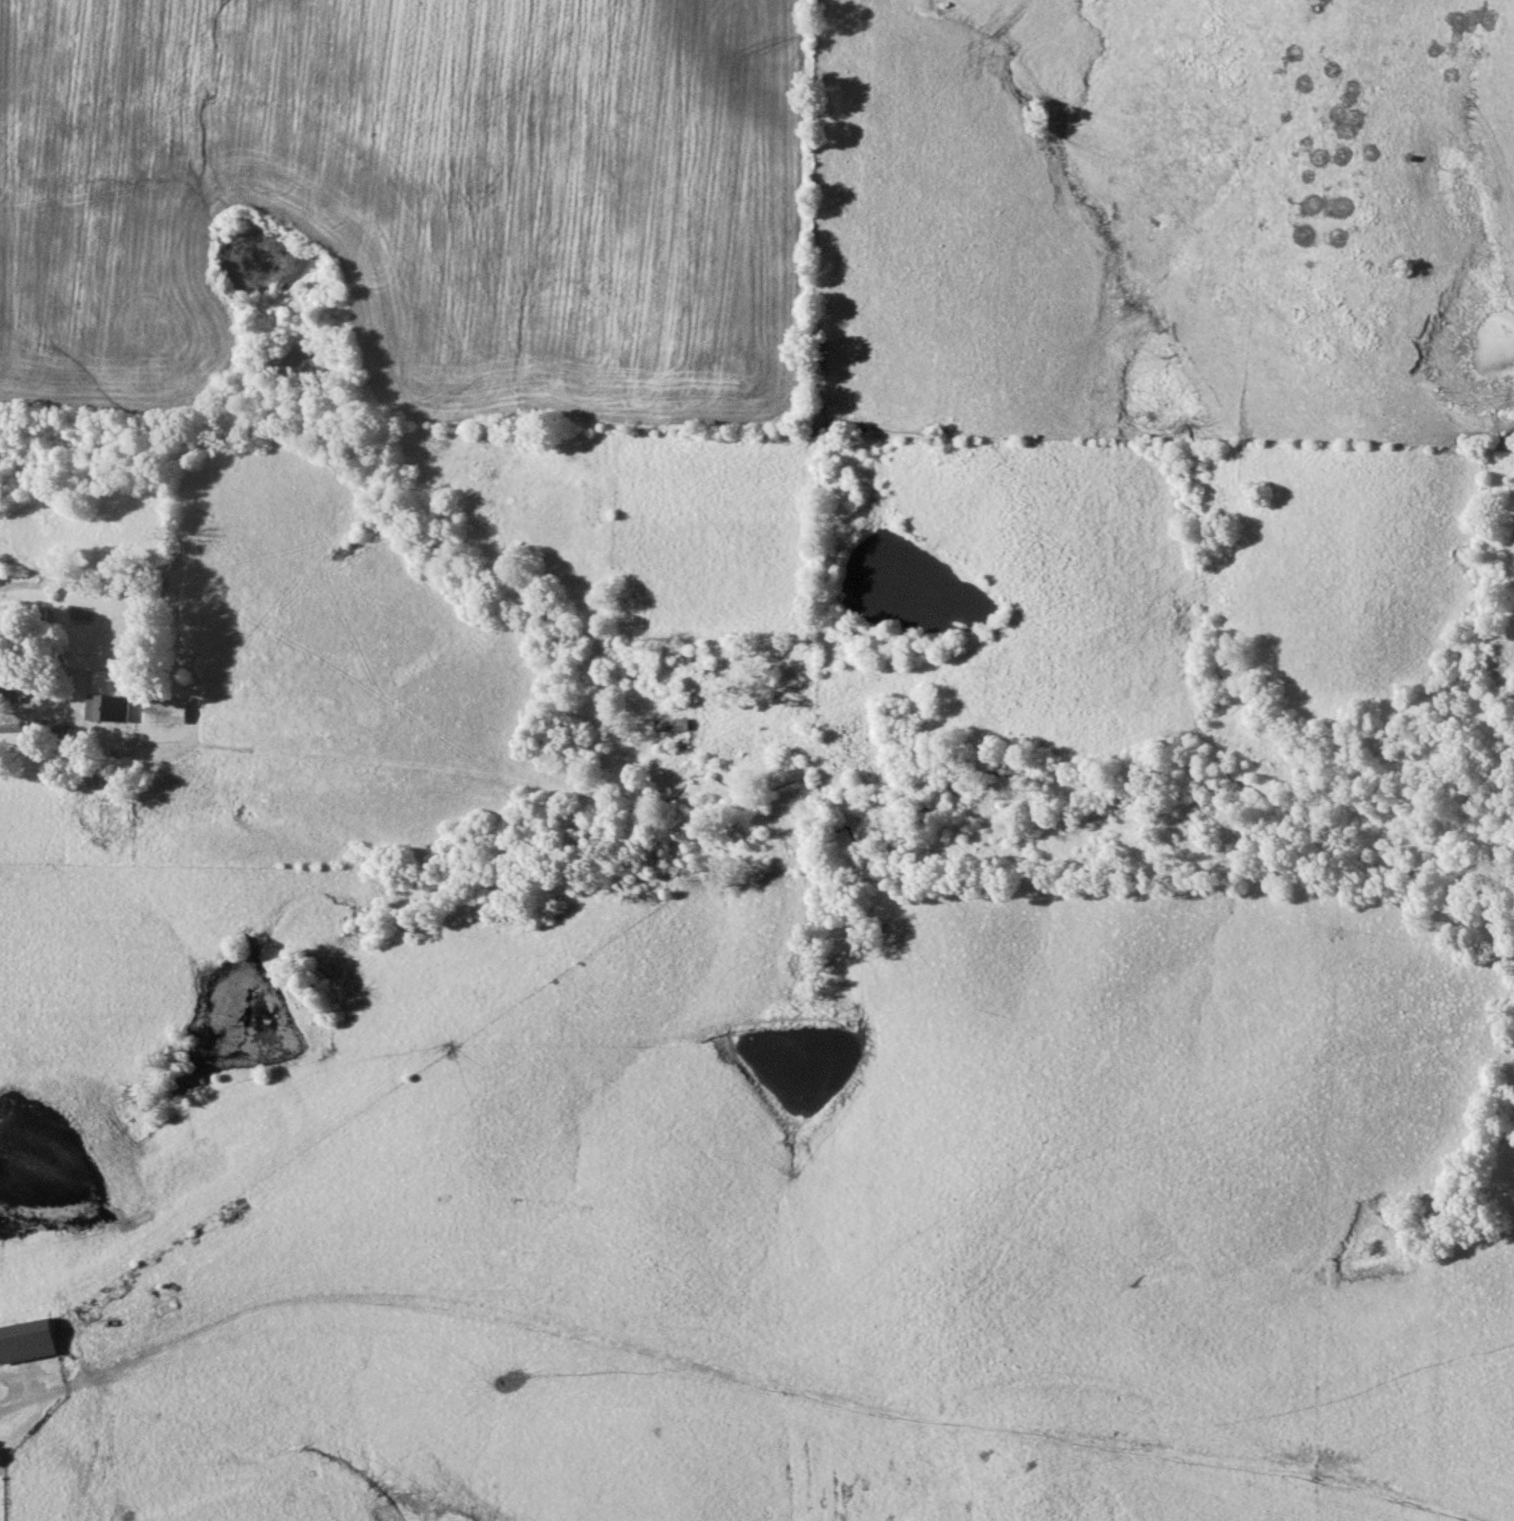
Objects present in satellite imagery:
building: (15, 690)
building: (108, 707)
building: (168, 713)
road: (28, 715)
building: (55, 729)
building: (27, 1340)
road: (18, 1402)

